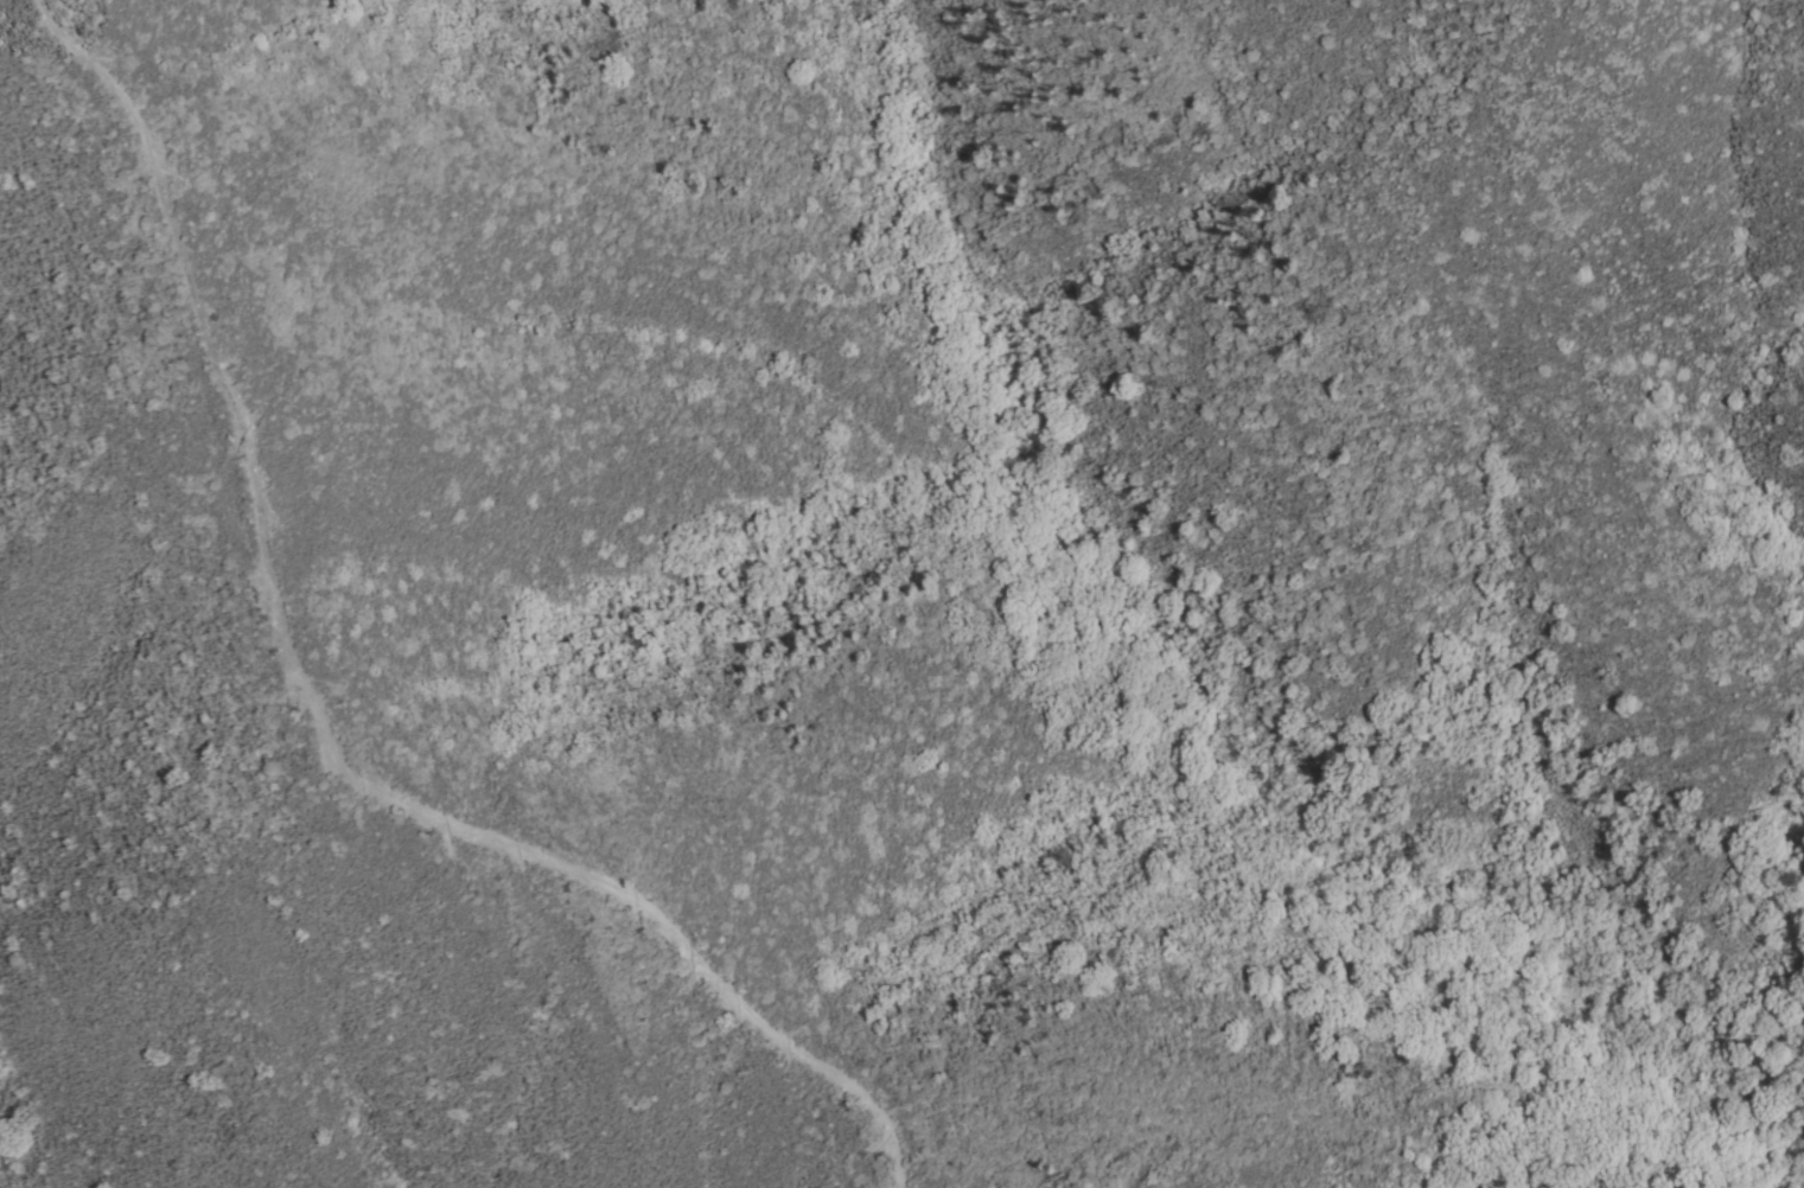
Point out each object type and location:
road: (321, 718)

